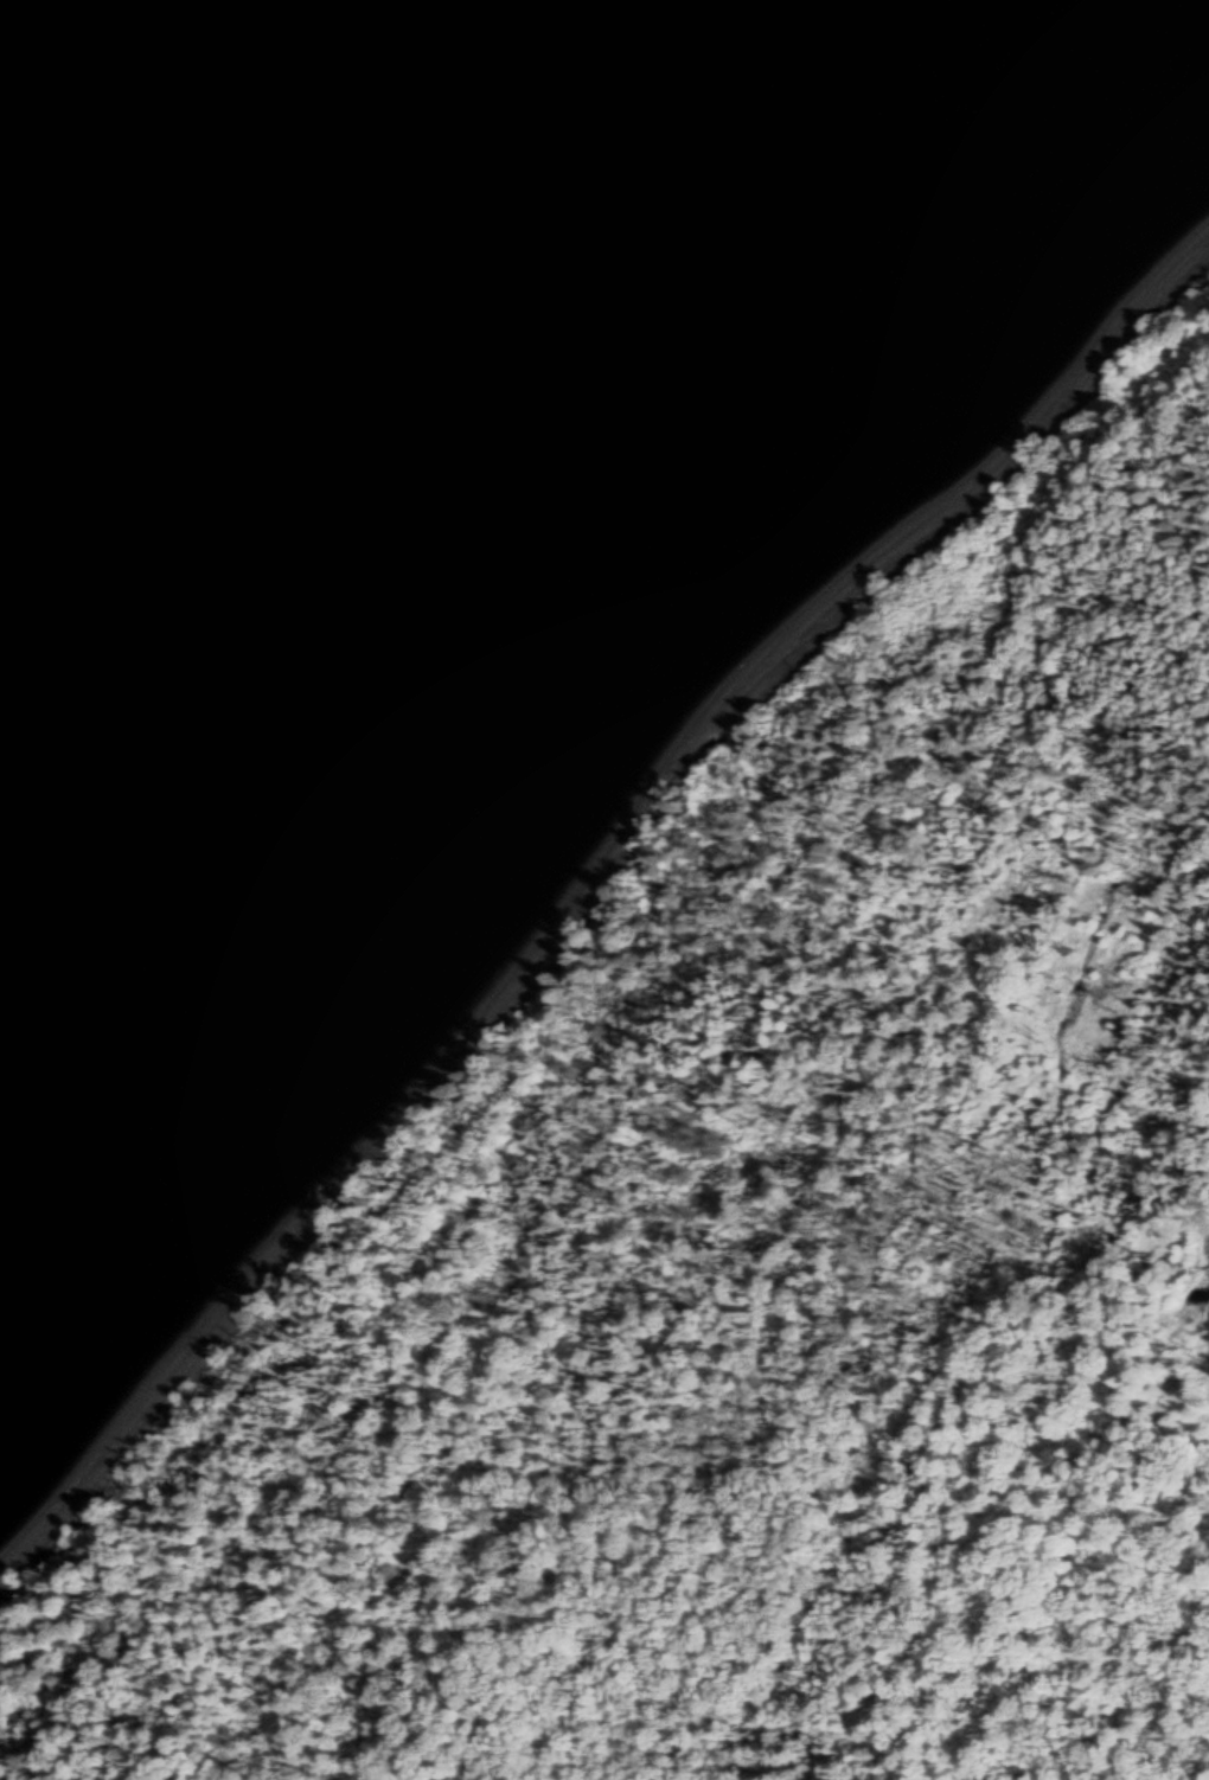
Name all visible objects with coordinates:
park: (19, 1635)

